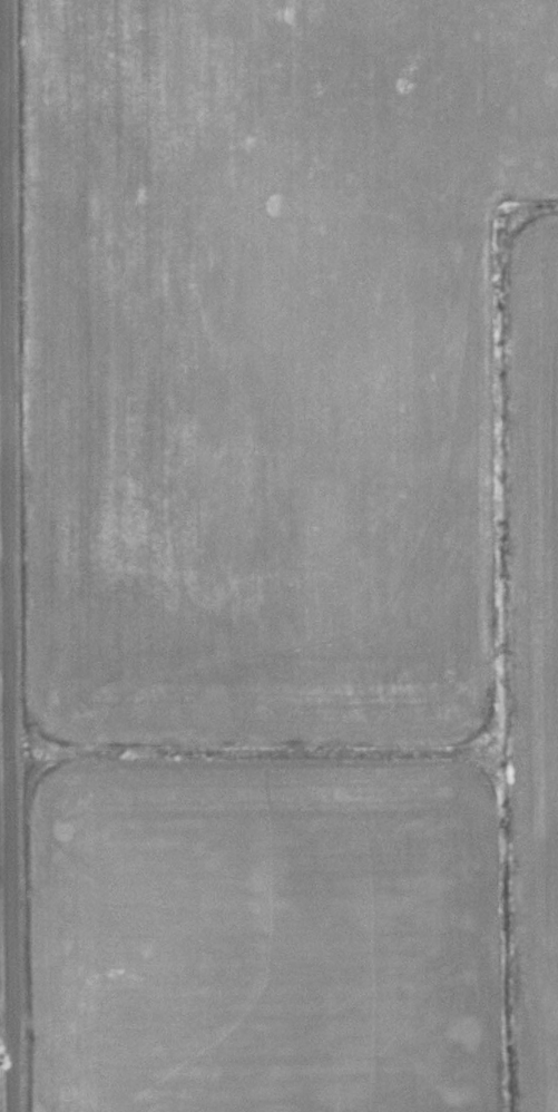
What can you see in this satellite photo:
road: (7, 556)

